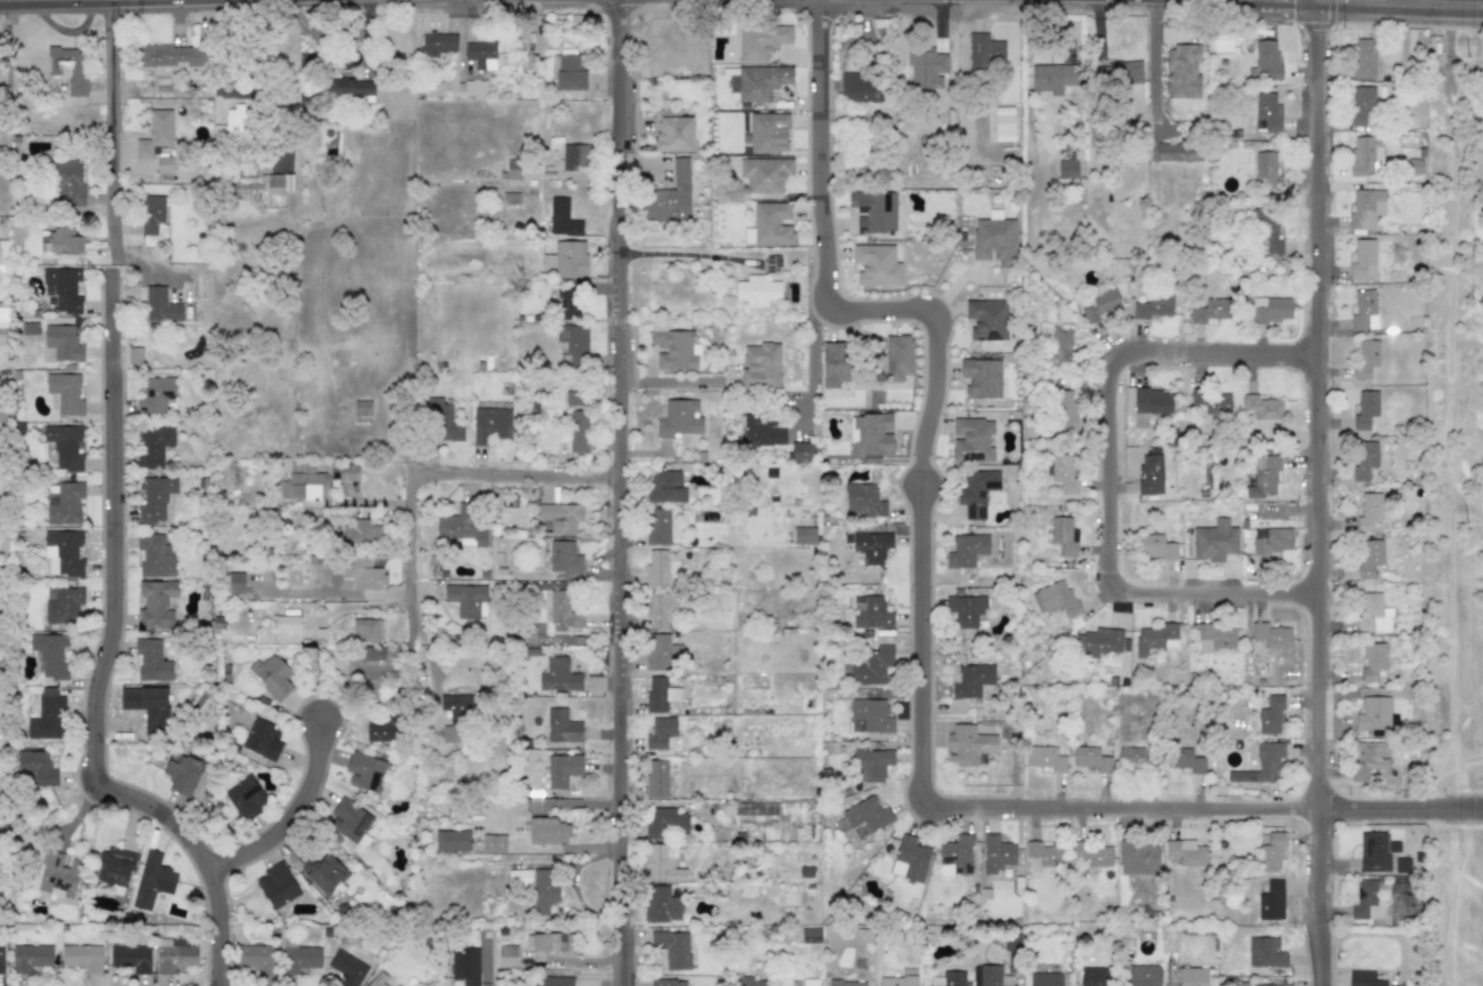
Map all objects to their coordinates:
road: (53, 1)
road: (1397, 1)
building: (761, 41)
building: (437, 43)
building: (984, 51)
building: (480, 54)
building: (171, 58)
building: (1363, 58)
building: (1267, 60)
building: (67, 68)
road: (1154, 68)
building: (1182, 72)
building: (569, 73)
building: (1052, 80)
building: (761, 82)
building: (347, 85)
building: (861, 88)
building: (475, 89)
road: (242, 93)
building: (1361, 104)
building: (1268, 111)
building: (1003, 123)
building: (236, 124)
road: (110, 128)
building: (671, 131)
building: (769, 132)
building: (155, 133)
building: (1178, 151)
building: (1364, 154)
building: (574, 156)
building: (164, 164)
building: (1067, 169)
building: (513, 170)
building: (1267, 171)
building: (764, 174)
building: (69, 183)
building: (671, 193)
building: (510, 198)
building: (873, 211)
building: (562, 219)
building: (153, 220)
building: (771, 224)
building: (1267, 232)
building: (748, 236)
building: (994, 241)
building: (65, 244)
road: (681, 252)
building: (570, 259)
building: (1363, 259)
building: (773, 264)
building: (877, 265)
building: (65, 289)
building: (757, 290)
building: (566, 301)
building: (1100, 305)
building: (161, 306)
building: (1153, 306)
building: (1210, 310)
building: (1271, 310)
building: (1364, 310)
building: (987, 319)
building: (63, 342)
building: (573, 343)
building: (1060, 347)
building: (674, 350)
building: (1366, 358)
building: (898, 361)
building: (835, 364)
building: (760, 366)
road: (814, 366)
building: (981, 377)
road: (666, 384)
building: (65, 392)
building: (156, 394)
building: (574, 397)
building: (1151, 400)
building: (1212, 401)
building: (1262, 407)
building: (1365, 409)
building: (1065, 410)
building: (362, 411)
building: (679, 419)
building: (444, 422)
building: (491, 424)
building: (761, 430)
building: (577, 432)
building: (872, 436)
building: (971, 439)
building: (66, 446)
building: (154, 446)
building: (800, 452)
building: (1365, 460)
road: (1104, 465)
building: (344, 472)
building: (1063, 473)
building: (1150, 475)
road: (432, 476)
building: (1263, 477)
building: (304, 486)
building: (665, 486)
road: (613, 492)
building: (976, 492)
road: (1312, 493)
building: (154, 497)
building: (863, 502)
building: (65, 504)
building: (1368, 511)
building: (560, 517)
building: (662, 527)
building: (461, 529)
building: (362, 532)
building: (1064, 536)
building: (1272, 539)
building: (1214, 541)
building: (872, 546)
building: (1156, 547)
building: (967, 549)
building: (63, 553)
building: (155, 556)
building: (563, 557)
building: (1368, 557)
building: (657, 566)
building: (362, 573)
building: (236, 583)
road: (349, 592)
building: (466, 599)
building: (1055, 599)
building: (156, 603)
building: (64, 605)
building: (662, 608)
building: (965, 610)
building: (561, 612)
building: (869, 612)
building: (1373, 614)
building: (287, 623)
road: (919, 627)
building: (367, 629)
building: (1271, 635)
building: (1215, 637)
building: (1155, 638)
building: (1098, 641)
building: (660, 652)
building: (374, 653)
building: (50, 654)
building: (151, 660)
building: (1372, 661)
road: (99, 662)
building: (871, 665)
building: (271, 675)
building: (555, 675)
building: (972, 680)
building: (660, 694)
building: (147, 706)
building: (871, 714)
building: (1373, 714)
building: (456, 715)
building: (1270, 715)
building: (47, 717)
building: (562, 727)
building: (384, 729)
building: (660, 732)
building: (263, 739)
building: (969, 745)
building: (1045, 758)
building: (1366, 758)
building: (1091, 759)
building: (1135, 759)
building: (1185, 760)
building: (872, 763)
building: (1262, 764)
building: (35, 768)
building: (562, 770)
building: (368, 772)
building: (182, 773)
building: (656, 778)
building: (245, 798)
building: (867, 814)
building: (351, 818)
road: (291, 821)
building: (664, 821)
building: (547, 831)
building: (452, 841)
building: (494, 843)
building: (1270, 851)
building: (1186, 852)
building: (1375, 852)
building: (997, 853)
building: (1045, 854)
building: (1092, 854)
building: (955, 856)
building: (1138, 857)
building: (909, 859)
building: (662, 863)
building: (1401, 865)
building: (115, 867)
building: (324, 873)
building: (58, 875)
building: (520, 878)
building: (152, 880)
building: (277, 885)
building: (543, 891)
building: (1271, 901)
building: (1366, 902)
building: (662, 905)
building: (811, 935)
building: (546, 942)
building: (673, 948)
building: (1265, 952)
building: (507, 956)
building: (30, 957)
building: (258, 957)
building: (299, 957)
building: (82, 958)
building: (131, 958)
building: (175, 958)
building: (1, 959)
building: (465, 967)
building: (346, 968)
building: (1143, 975)
building: (990, 976)
building: (1094, 976)
building: (1189, 976)
building: (1363, 978)
building: (377, 979)
building: (948, 979)
building: (1045, 979)
building: (555, 981)
building: (751, 981)
building: (898, 981)
building: (668, 982)
building: (809, 982)
building: (847, 983)
building: (1277, 985)

